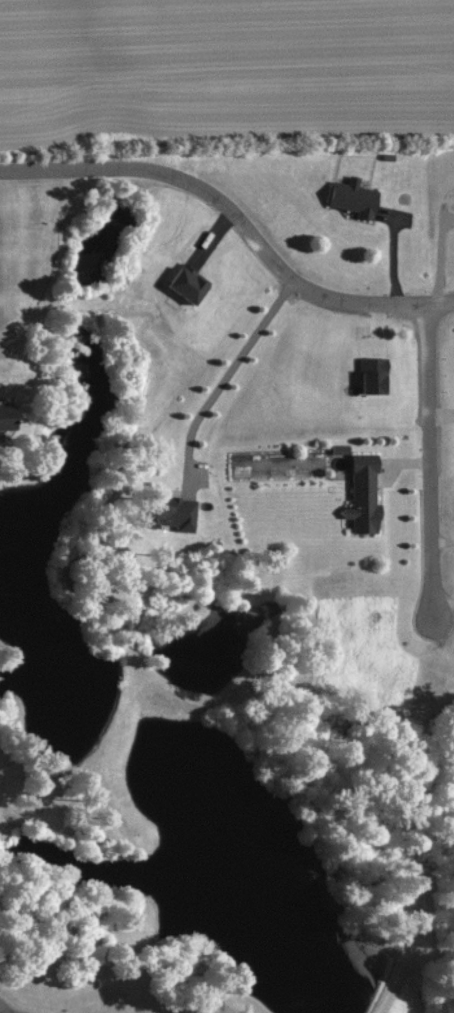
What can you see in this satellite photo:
building: (356, 197)
road: (236, 217)
building: (191, 283)
building: (375, 374)
road: (222, 381)
building: (10, 417)
building: (342, 449)
road: (431, 459)
building: (366, 494)
building: (180, 514)
road: (2, 1010)

